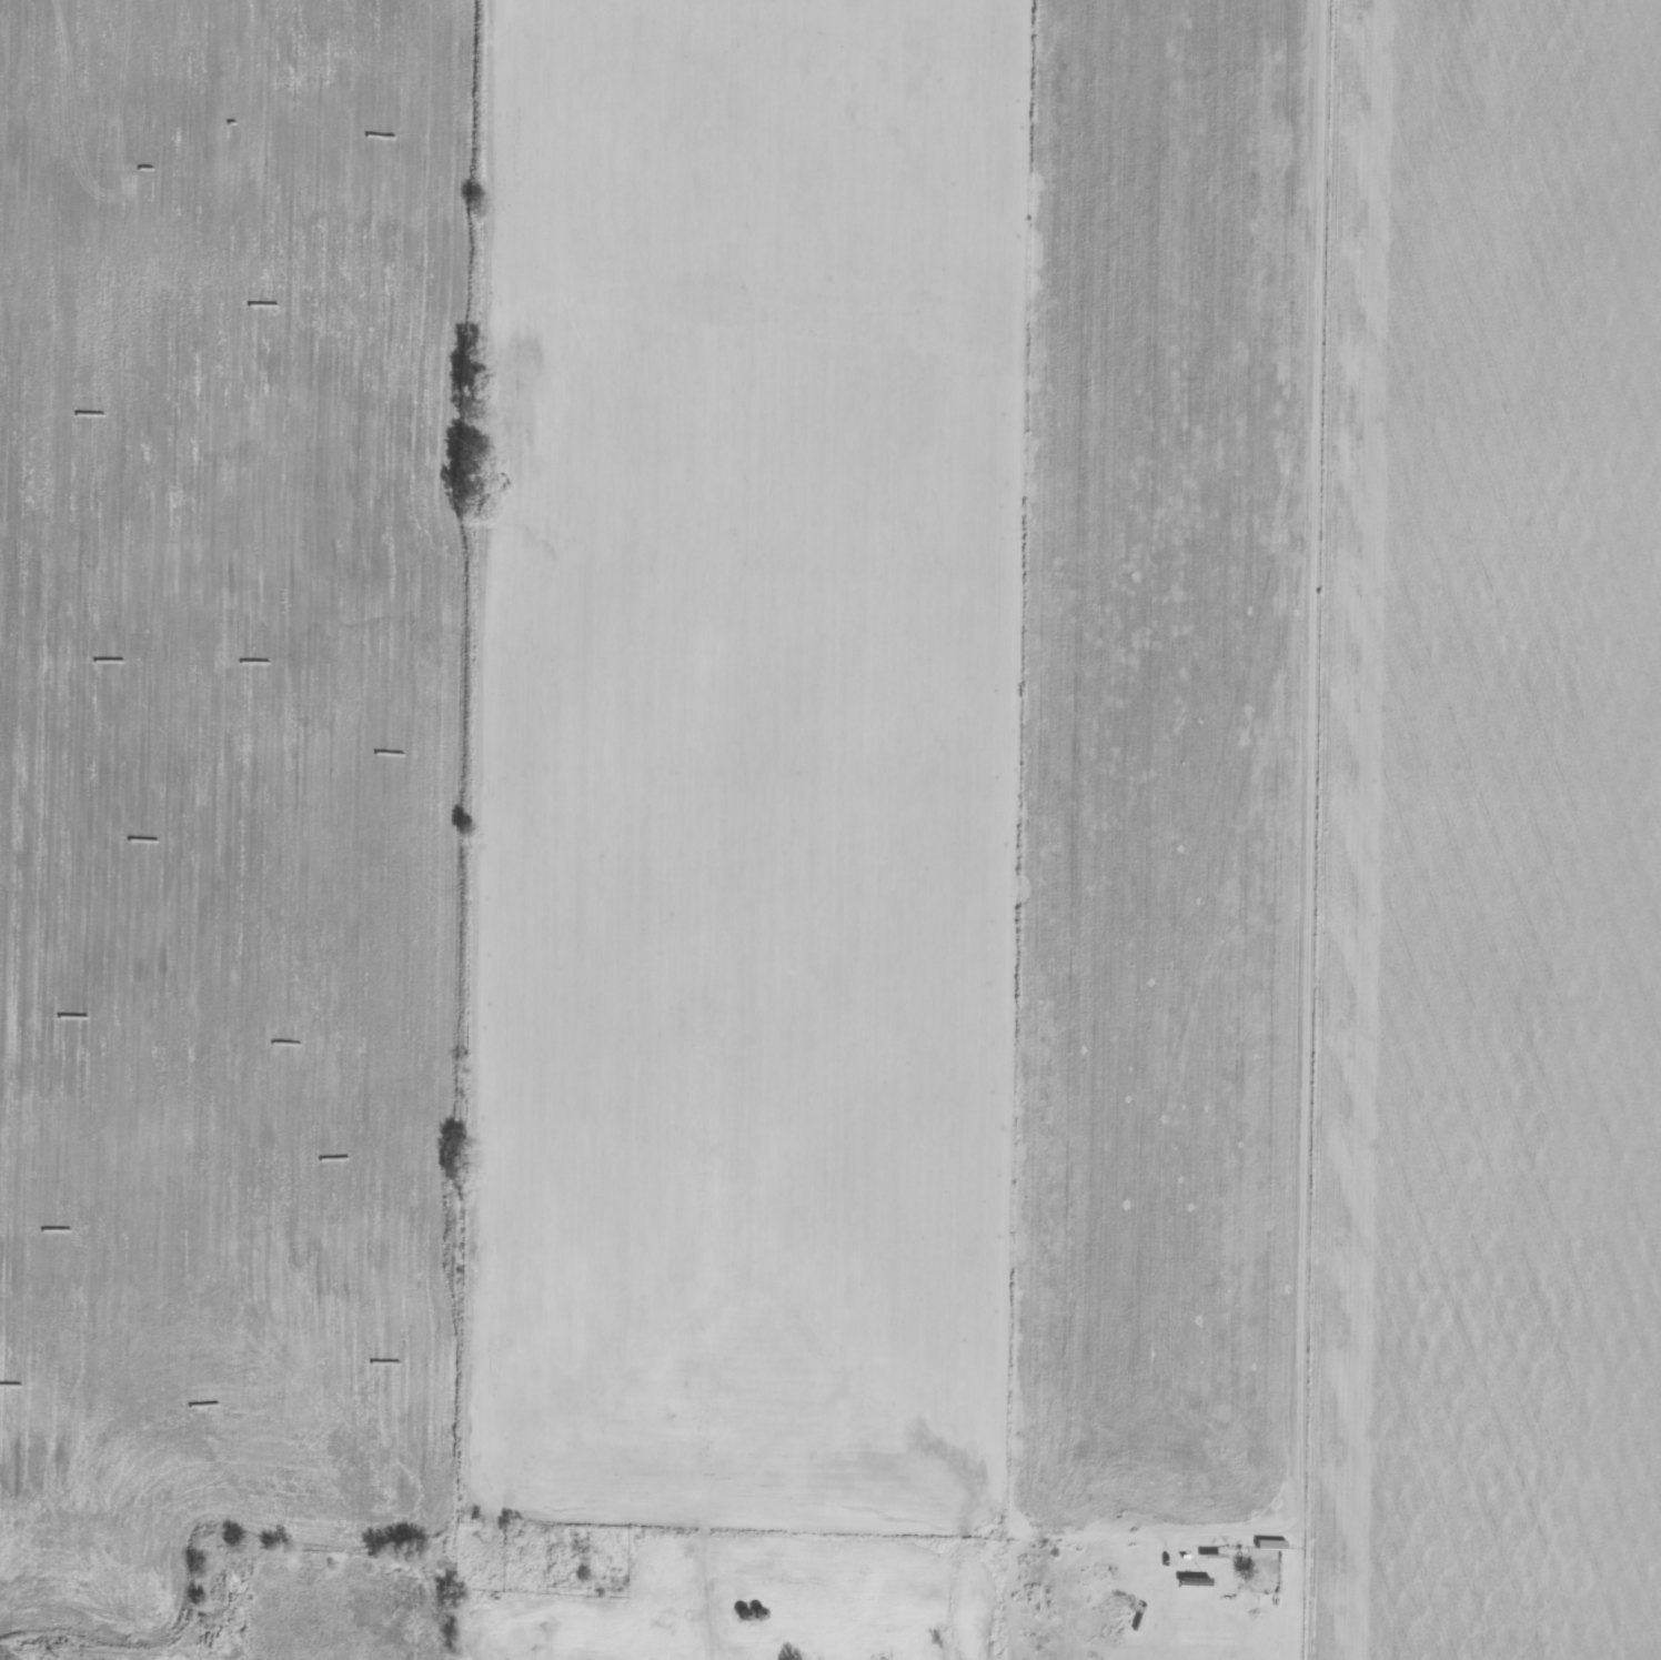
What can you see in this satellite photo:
road: (1310, 829)
road: (493, 1075)

